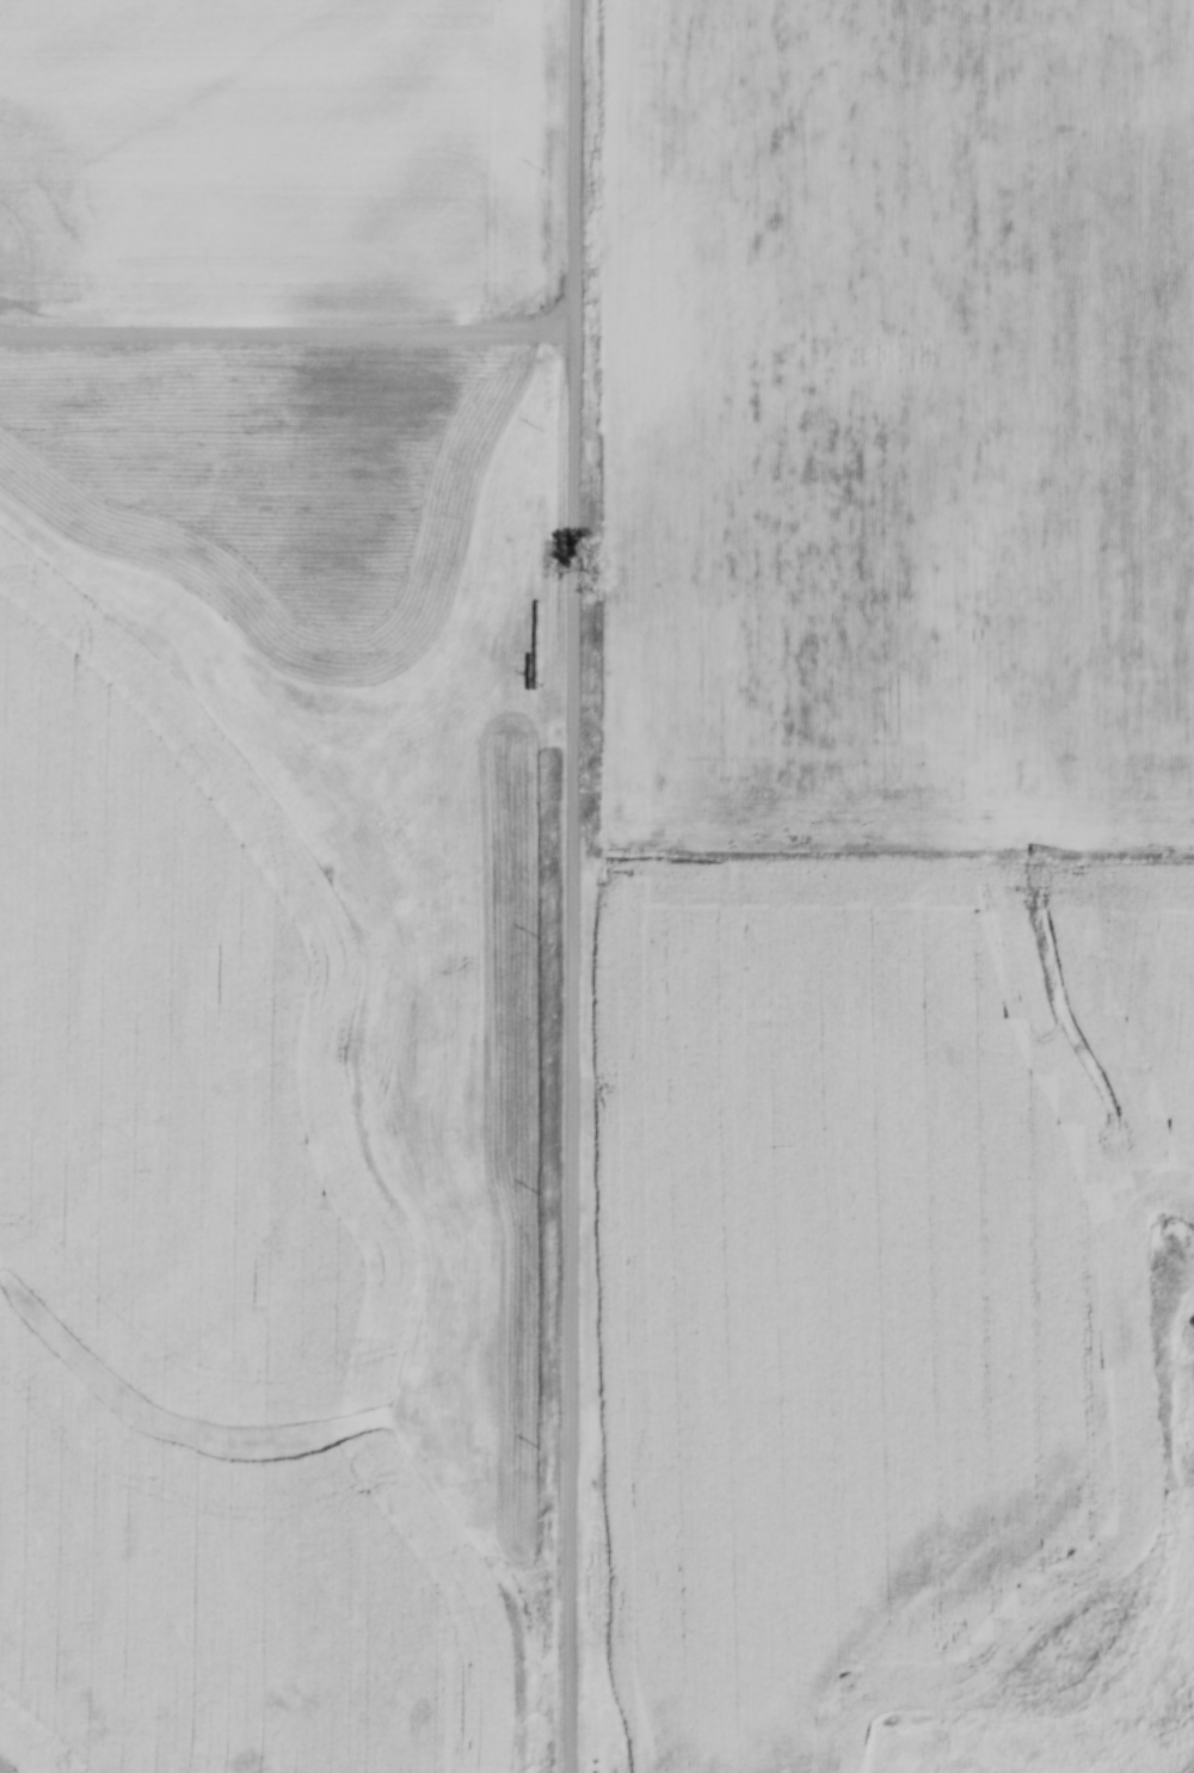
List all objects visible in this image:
road: (574, 886)

